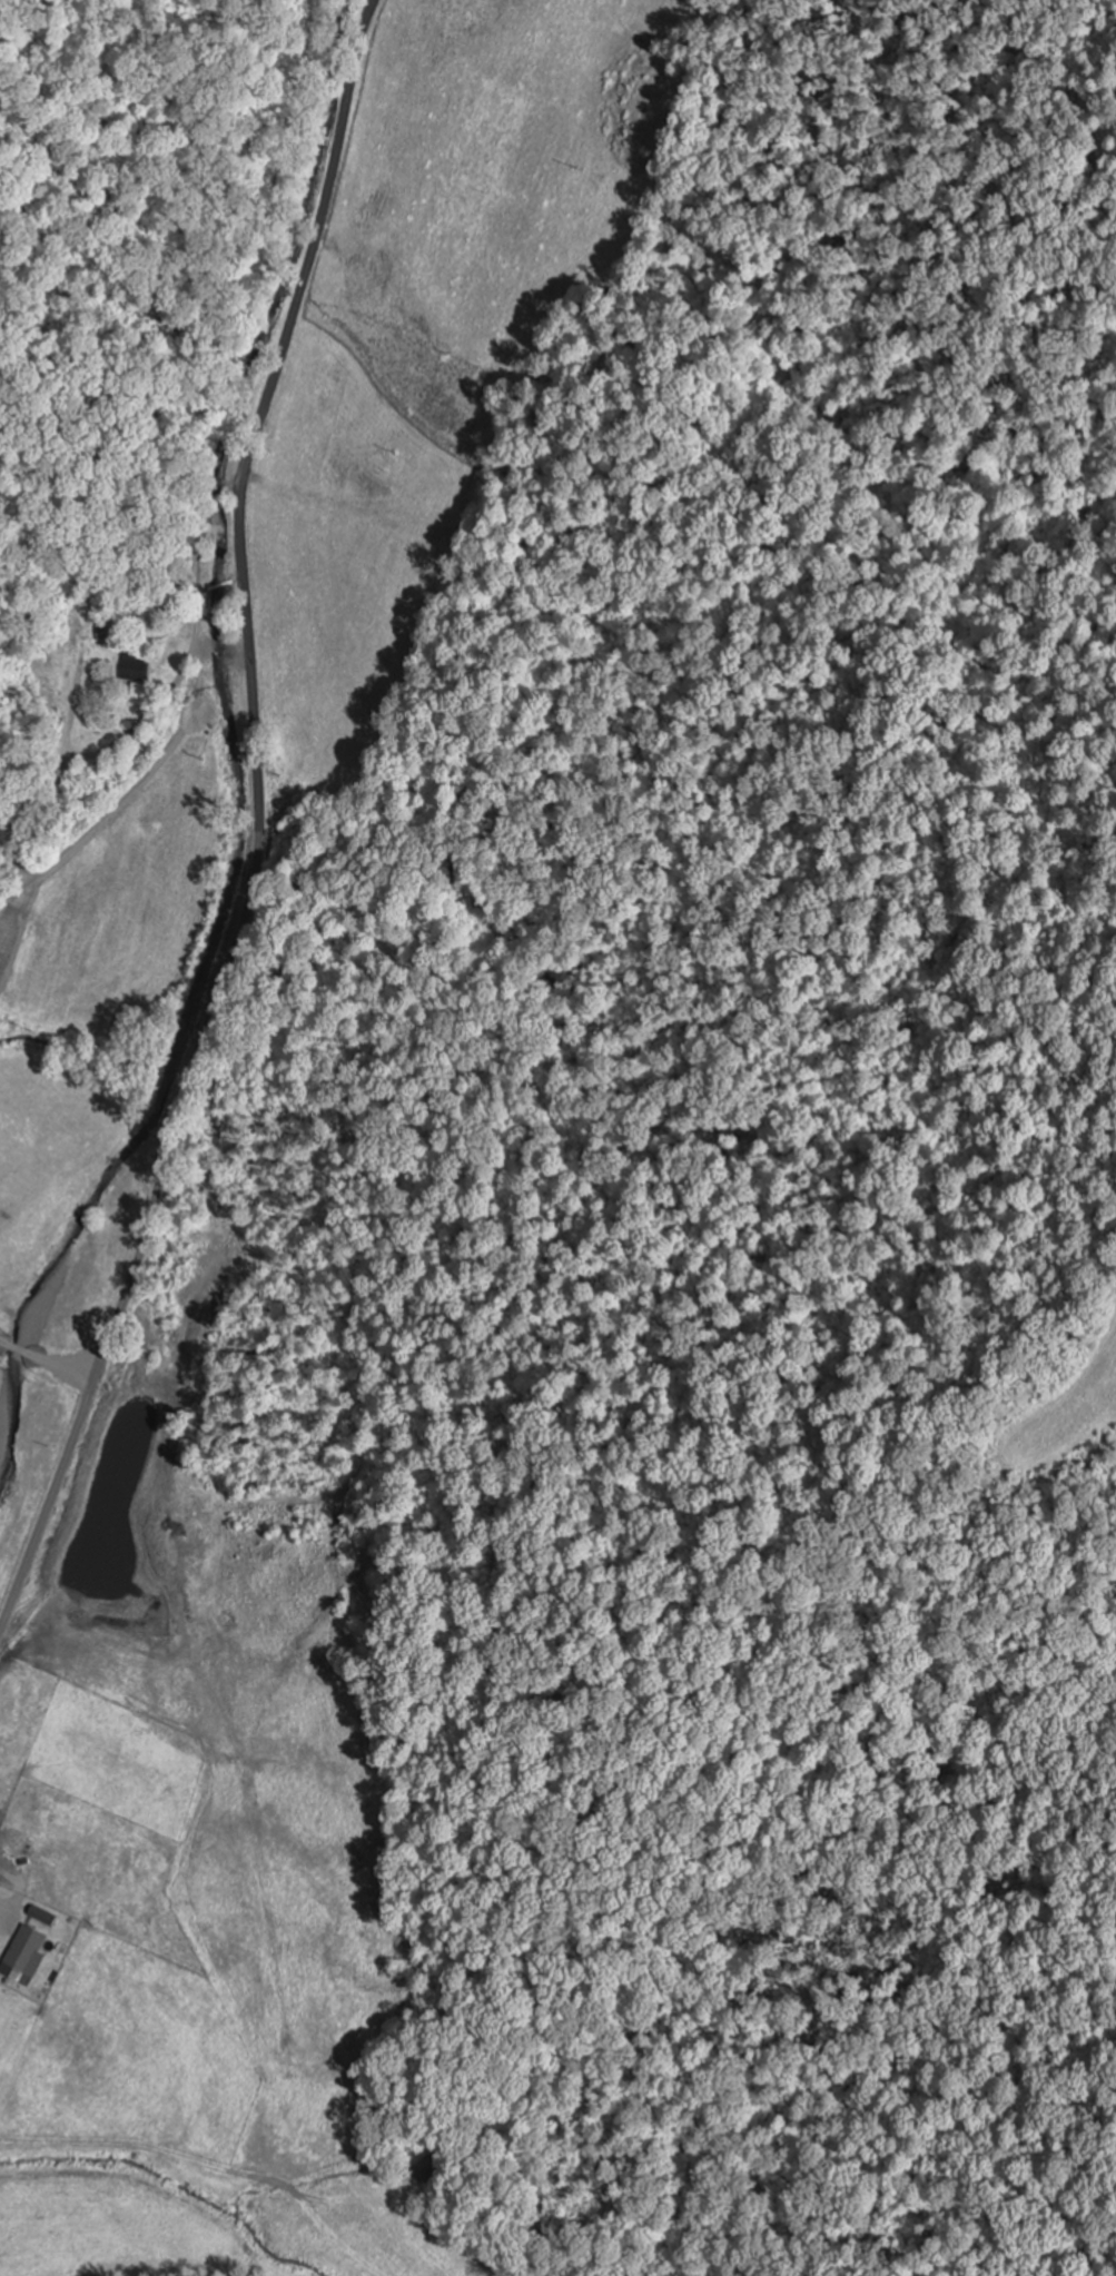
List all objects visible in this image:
building: (134, 666)
road: (259, 825)

